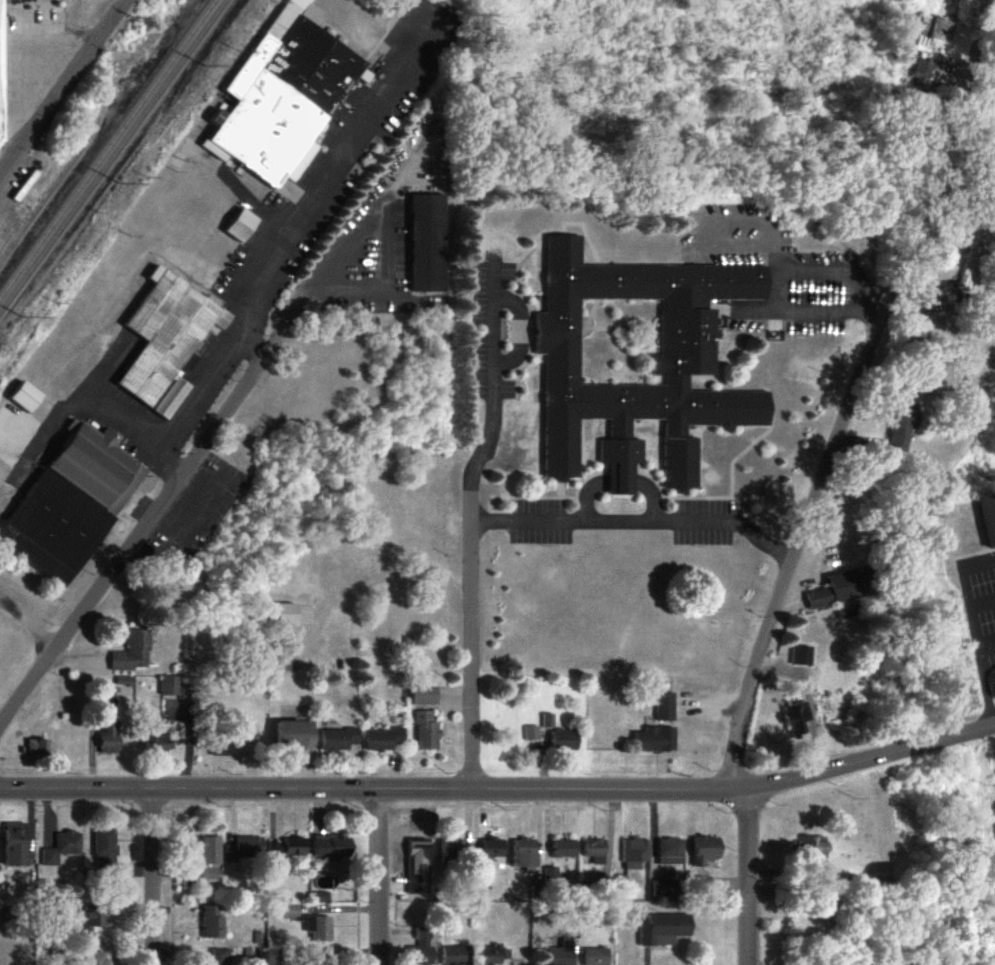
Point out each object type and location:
building: (922, 72)
road: (61, 88)
building: (283, 96)
building: (0, 98)
railway: (83, 138)
railway: (108, 149)
railway: (116, 152)
road: (392, 222)
building: (242, 225)
building: (428, 243)
road: (269, 254)
road: (803, 276)
railway: (3, 309)
building: (166, 340)
road: (248, 344)
building: (680, 364)
road: (854, 384)
road: (497, 391)
building: (25, 397)
building: (899, 433)
road: (154, 502)
building: (72, 503)
building: (989, 517)
road: (637, 522)
building: (840, 590)
building: (284, 614)
road: (470, 642)
building: (132, 653)
building: (803, 656)
building: (282, 659)
building: (169, 686)
building: (424, 696)
building: (665, 707)
building: (799, 718)
building: (547, 720)
building: (425, 731)
building: (530, 733)
building: (295, 735)
building: (108, 739)
building: (338, 739)
building: (382, 739)
building: (564, 740)
building: (656, 740)
building: (157, 743)
building: (219, 747)
building: (36, 748)
road: (867, 758)
road: (370, 786)
building: (15, 845)
building: (61, 847)
building: (331, 847)
building: (103, 848)
building: (288, 848)
building: (493, 848)
building: (564, 848)
building: (243, 850)
building: (705, 850)
building: (813, 850)
building: (595, 851)
building: (670, 852)
building: (450, 853)
building: (635, 853)
building: (524, 854)
building: (209, 858)
building: (417, 866)
road: (747, 868)
road: (150, 875)
building: (550, 875)
road: (378, 876)
building: (703, 882)
building: (662, 890)
building: (320, 897)
building: (290, 911)
building: (211, 922)
building: (90, 923)
building: (318, 928)
building: (665, 930)
park: (17, 942)
building: (420, 949)
building: (562, 954)
building: (490, 955)
building: (219, 956)
building: (455, 956)
building: (596, 956)
building: (94, 958)
building: (321, 963)

